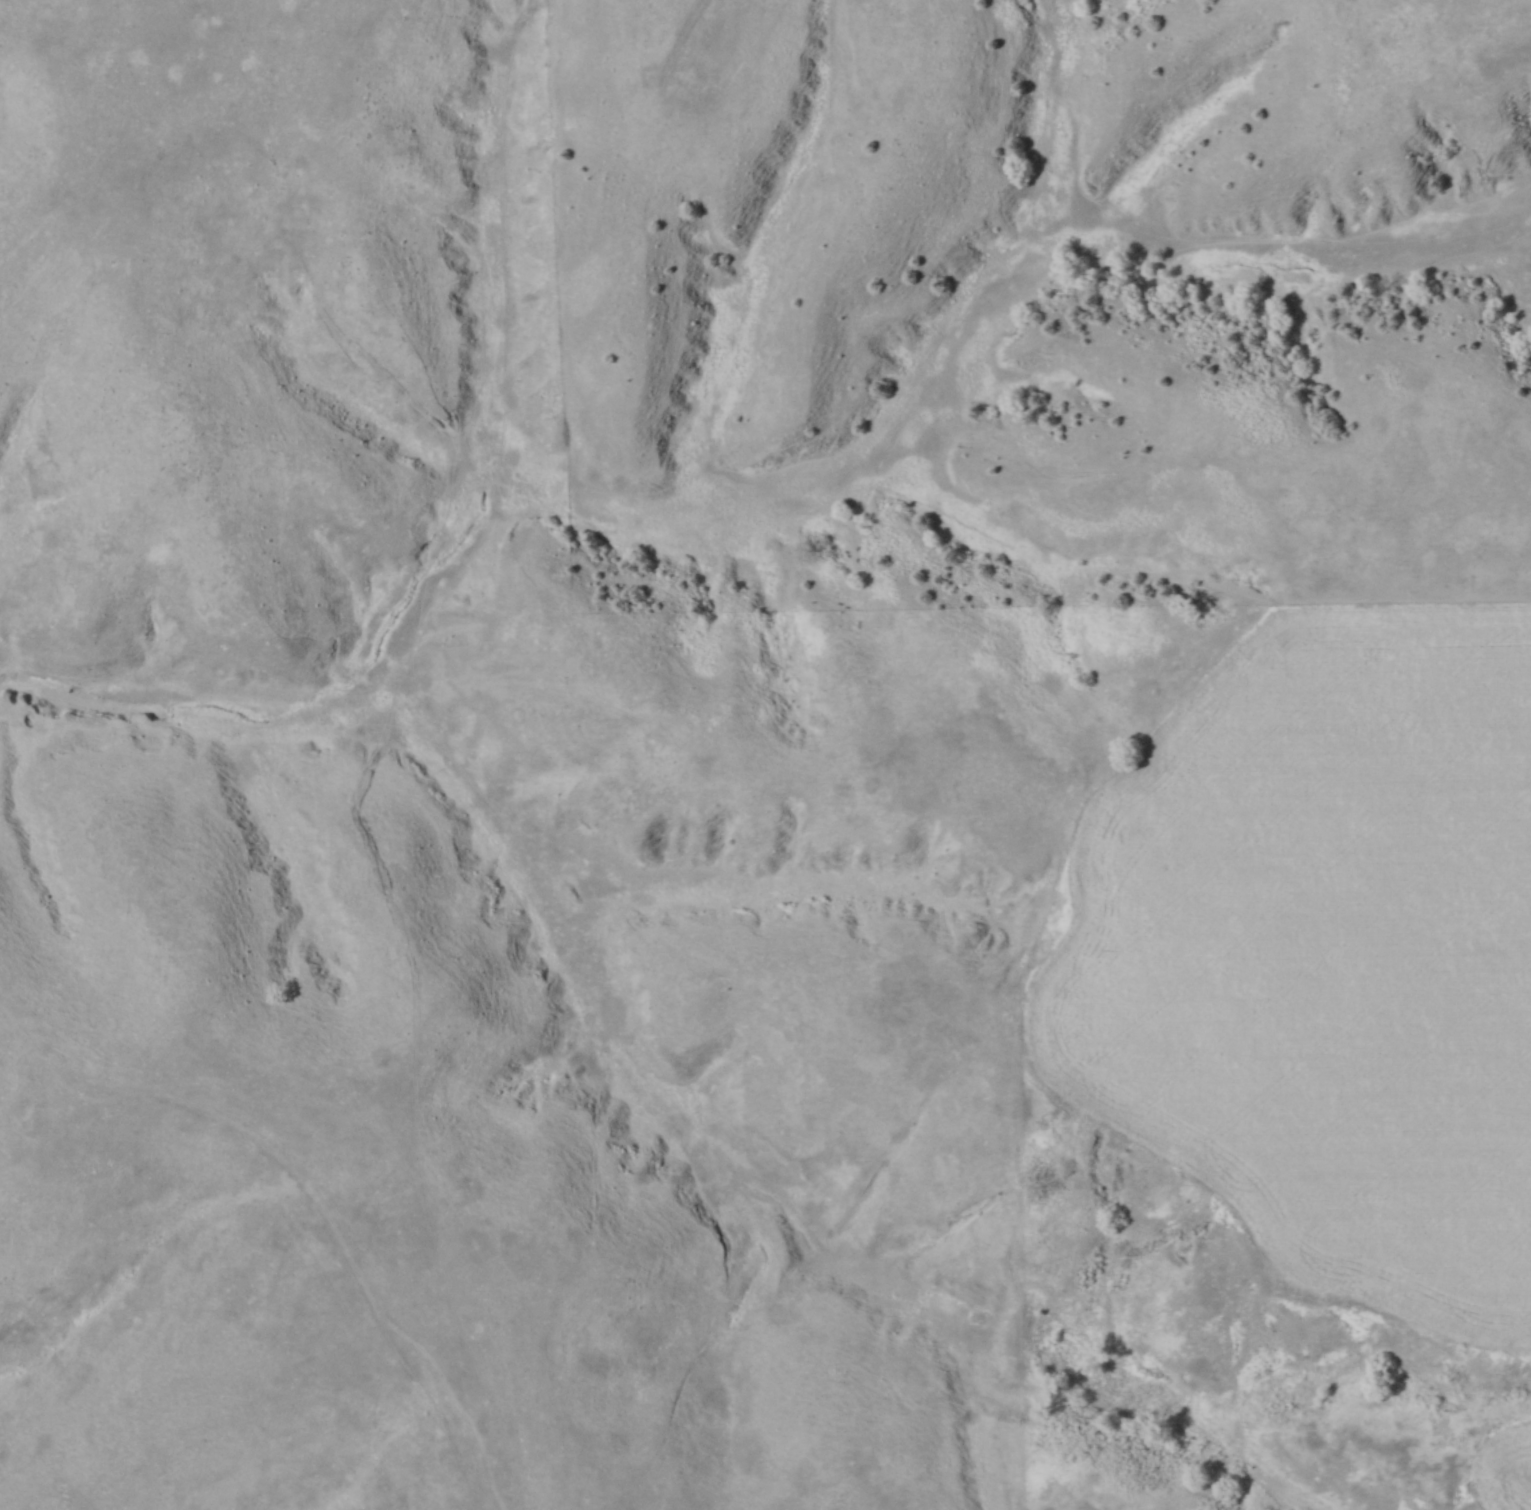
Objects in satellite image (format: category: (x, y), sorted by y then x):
crop: (1331, 952)
crop: (1515, 1474)

